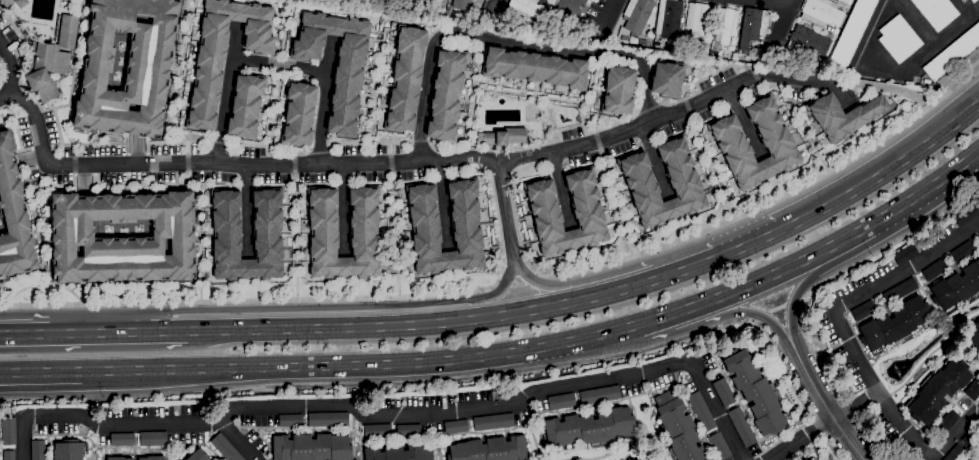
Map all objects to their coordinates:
building: (974, 0)
road: (500, 1)
building: (556, 1)
building: (847, 1)
road: (779, 2)
building: (462, 4)
building: (21, 5)
building: (569, 7)
road: (963, 7)
building: (525, 8)
road: (611, 11)
building: (822, 12)
building: (937, 12)
building: (639, 15)
building: (549, 16)
road: (786, 17)
building: (699, 18)
building: (669, 20)
road: (914, 22)
building: (725, 24)
building: (753, 25)
building: (538, 27)
building: (852, 33)
building: (829, 34)
building: (899, 38)
building: (808, 42)
road: (506, 43)
building: (656, 45)
building: (224, 53)
building: (953, 54)
building: (51, 60)
road: (75, 60)
building: (338, 63)
building: (127, 66)
road: (279, 66)
building: (536, 67)
road: (897, 70)
road: (177, 71)
building: (407, 77)
building: (668, 79)
building: (618, 89)
road: (225, 93)
road: (5, 95)
building: (447, 95)
road: (324, 99)
building: (246, 106)
building: (299, 114)
building: (843, 115)
road: (745, 123)
building: (503, 137)
building: (777, 142)
road: (161, 143)
road: (655, 161)
road: (392, 162)
road: (883, 171)
building: (641, 181)
road: (925, 187)
road: (561, 189)
road: (444, 204)
road: (343, 208)
road: (246, 209)
road: (505, 211)
building: (588, 213)
building: (967, 213)
building: (14, 215)
building: (425, 224)
road: (715, 225)
building: (173, 230)
building: (365, 233)
building: (268, 234)
building: (978, 234)
building: (963, 250)
building: (905, 254)
road: (698, 264)
building: (934, 269)
road: (520, 287)
road: (558, 287)
road: (799, 287)
building: (957, 287)
building: (900, 291)
road: (312, 298)
road: (568, 302)
road: (321, 307)
building: (863, 310)
road: (716, 318)
building: (895, 324)
road: (356, 327)
road: (805, 329)
road: (118, 332)
road: (24, 334)
building: (974, 336)
road: (850, 344)
road: (447, 360)
road: (461, 380)
building: (972, 389)
building: (938, 390)
building: (756, 391)
building: (724, 392)
building: (600, 395)
road: (822, 400)
building: (561, 401)
road: (854, 405)
building: (978, 405)
building: (701, 410)
road: (387, 417)
building: (328, 419)
building: (290, 420)
building: (493, 421)
building: (947, 422)
building: (456, 426)
building: (742, 426)
building: (590, 428)
building: (679, 428)
building: (9, 430)
building: (408, 430)
building: (377, 431)
building: (153, 438)
road: (237, 438)
building: (969, 438)
building: (122, 439)
road: (803, 440)
building: (719, 445)
building: (312, 447)
building: (225, 448)
building: (70, 449)
building: (490, 449)
building: (38, 450)
building: (399, 453)
building: (955, 453)
building: (9, 455)
building: (198, 455)
building: (152, 457)
building: (118, 458)
building: (811, 458)
building: (804, 459)
building: (968, 459)

